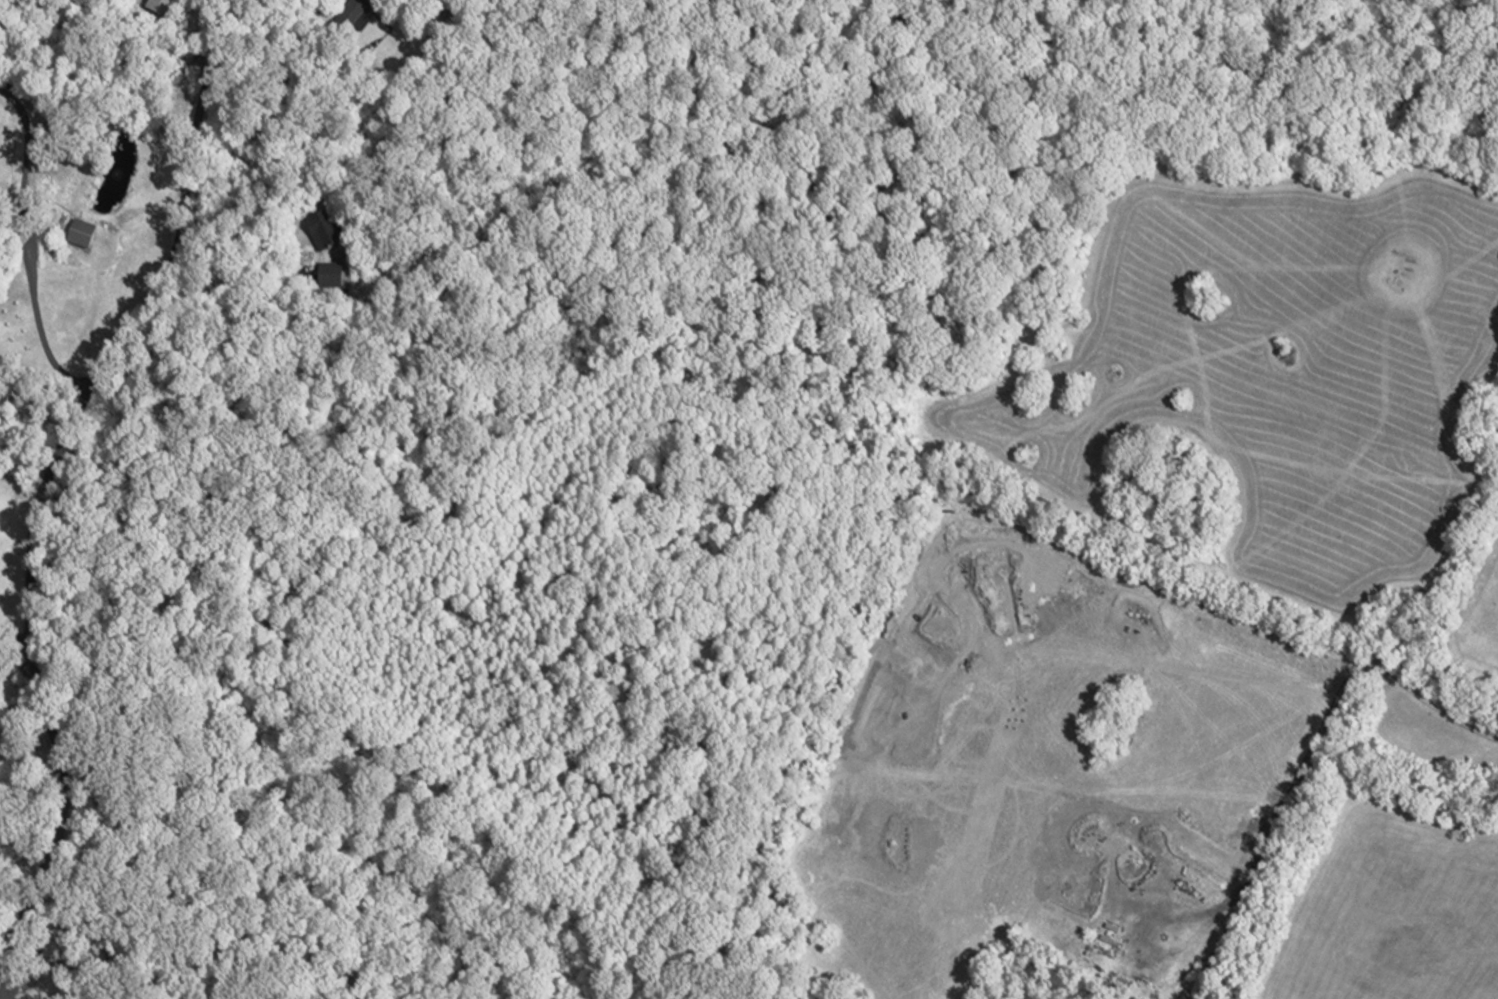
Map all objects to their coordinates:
building: (165, 9)
building: (353, 16)
building: (324, 234)
building: (83, 235)
road: (32, 245)
building: (333, 279)
road: (228, 315)
crop: (1268, 367)
road: (42, 486)
road: (16, 646)
road: (22, 708)
road: (1310, 744)
building: (57, 952)

